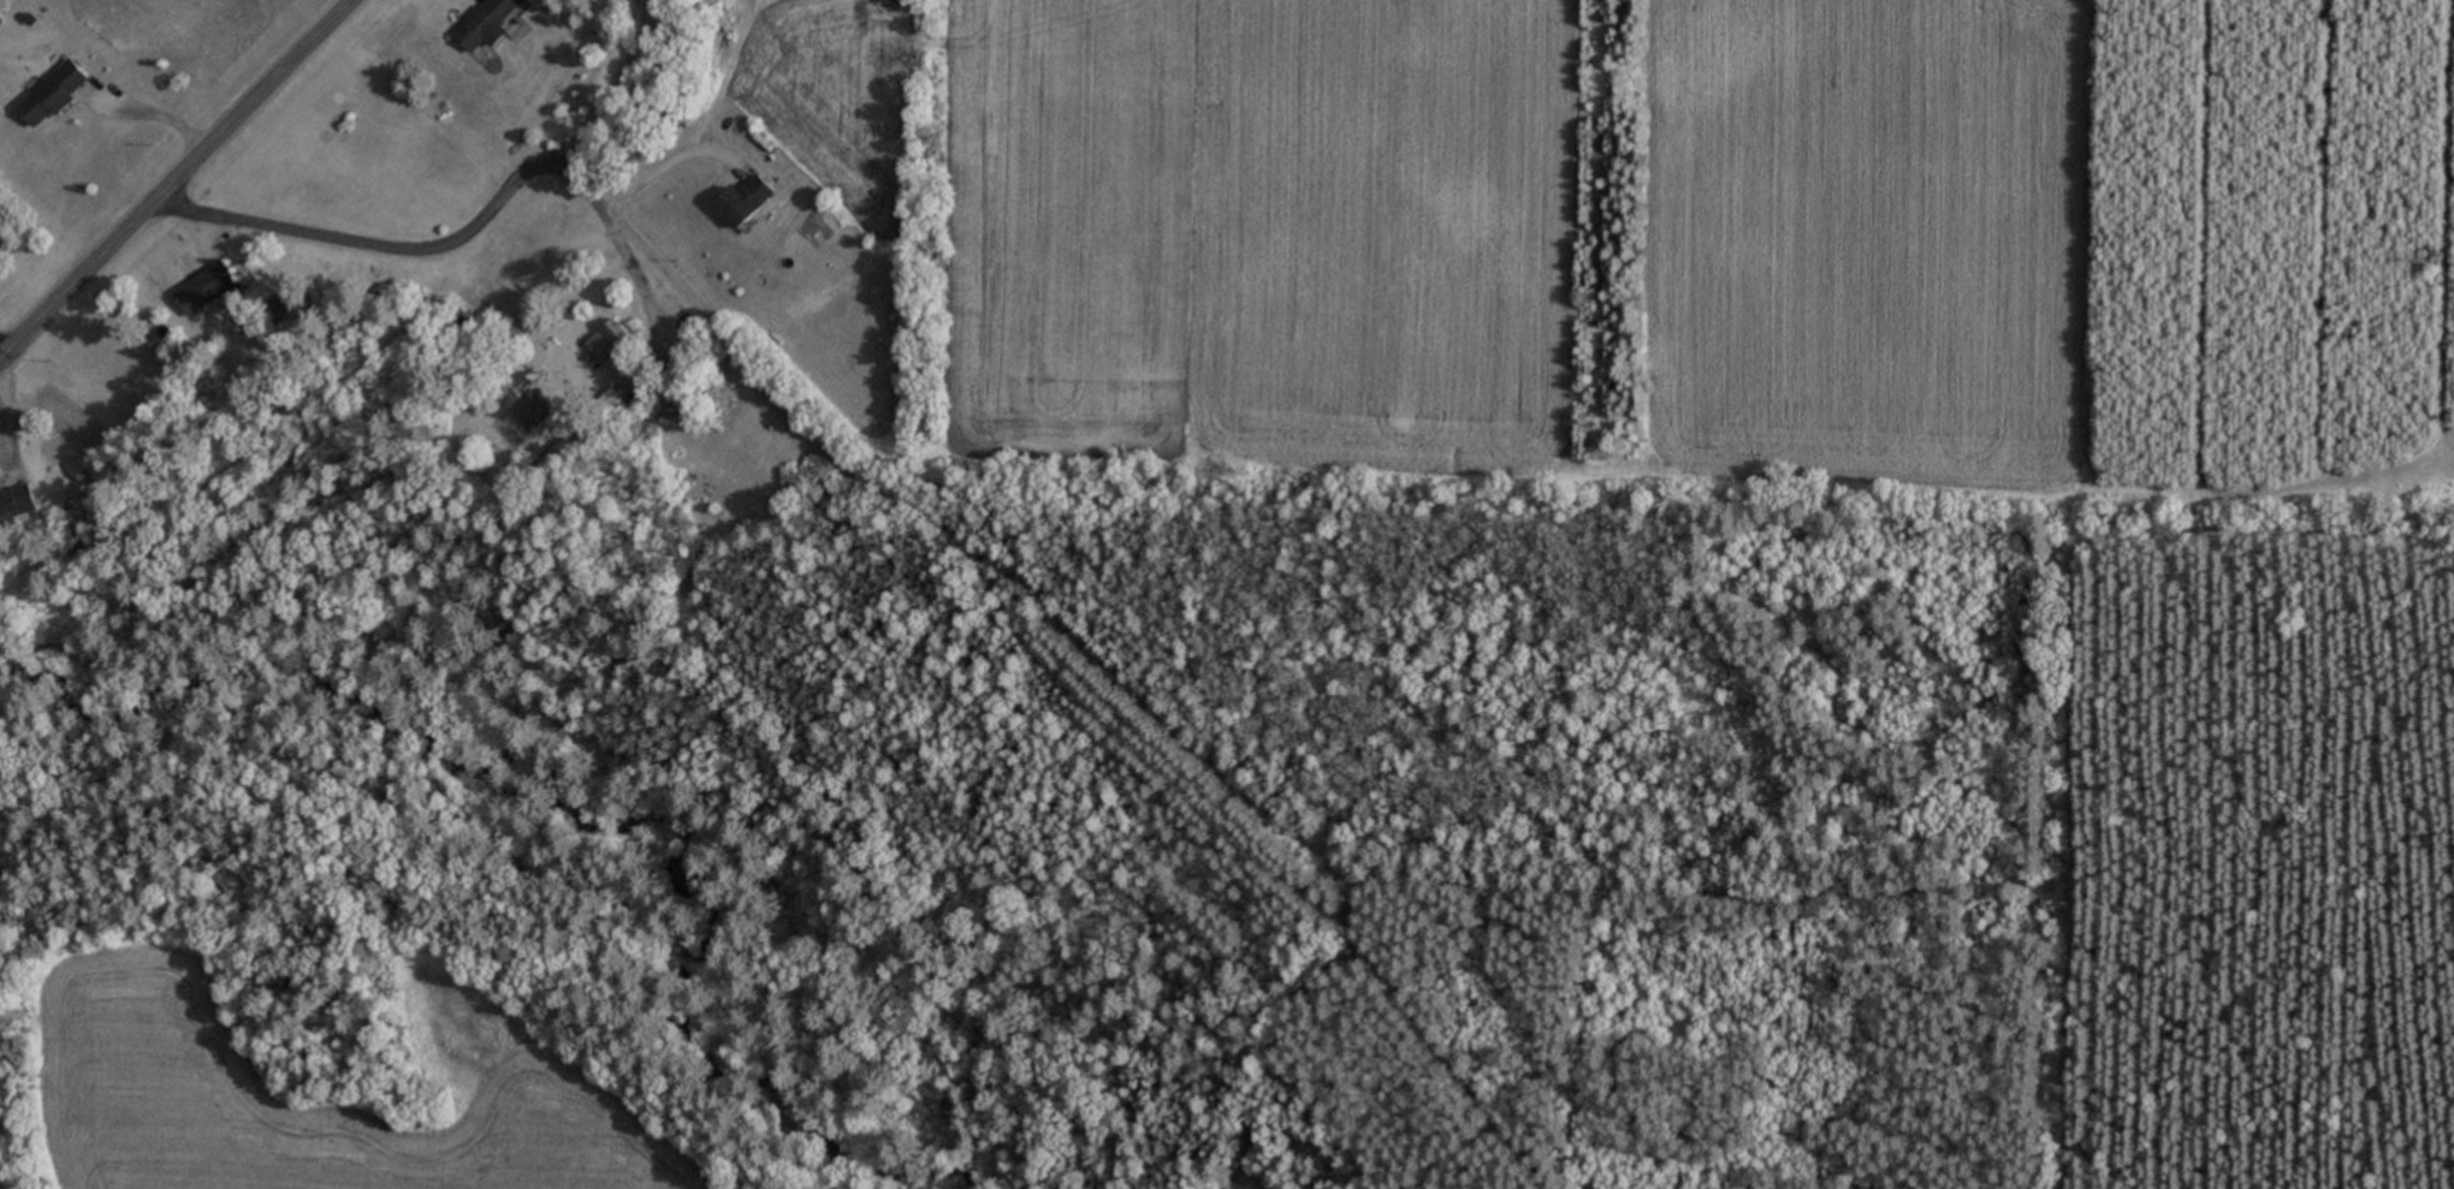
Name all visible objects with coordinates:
building: (485, 25)
building: (52, 95)
road: (248, 102)
building: (742, 200)
road: (447, 246)
road: (72, 279)
building: (204, 291)
building: (607, 340)
building: (611, 409)
building: (16, 503)

